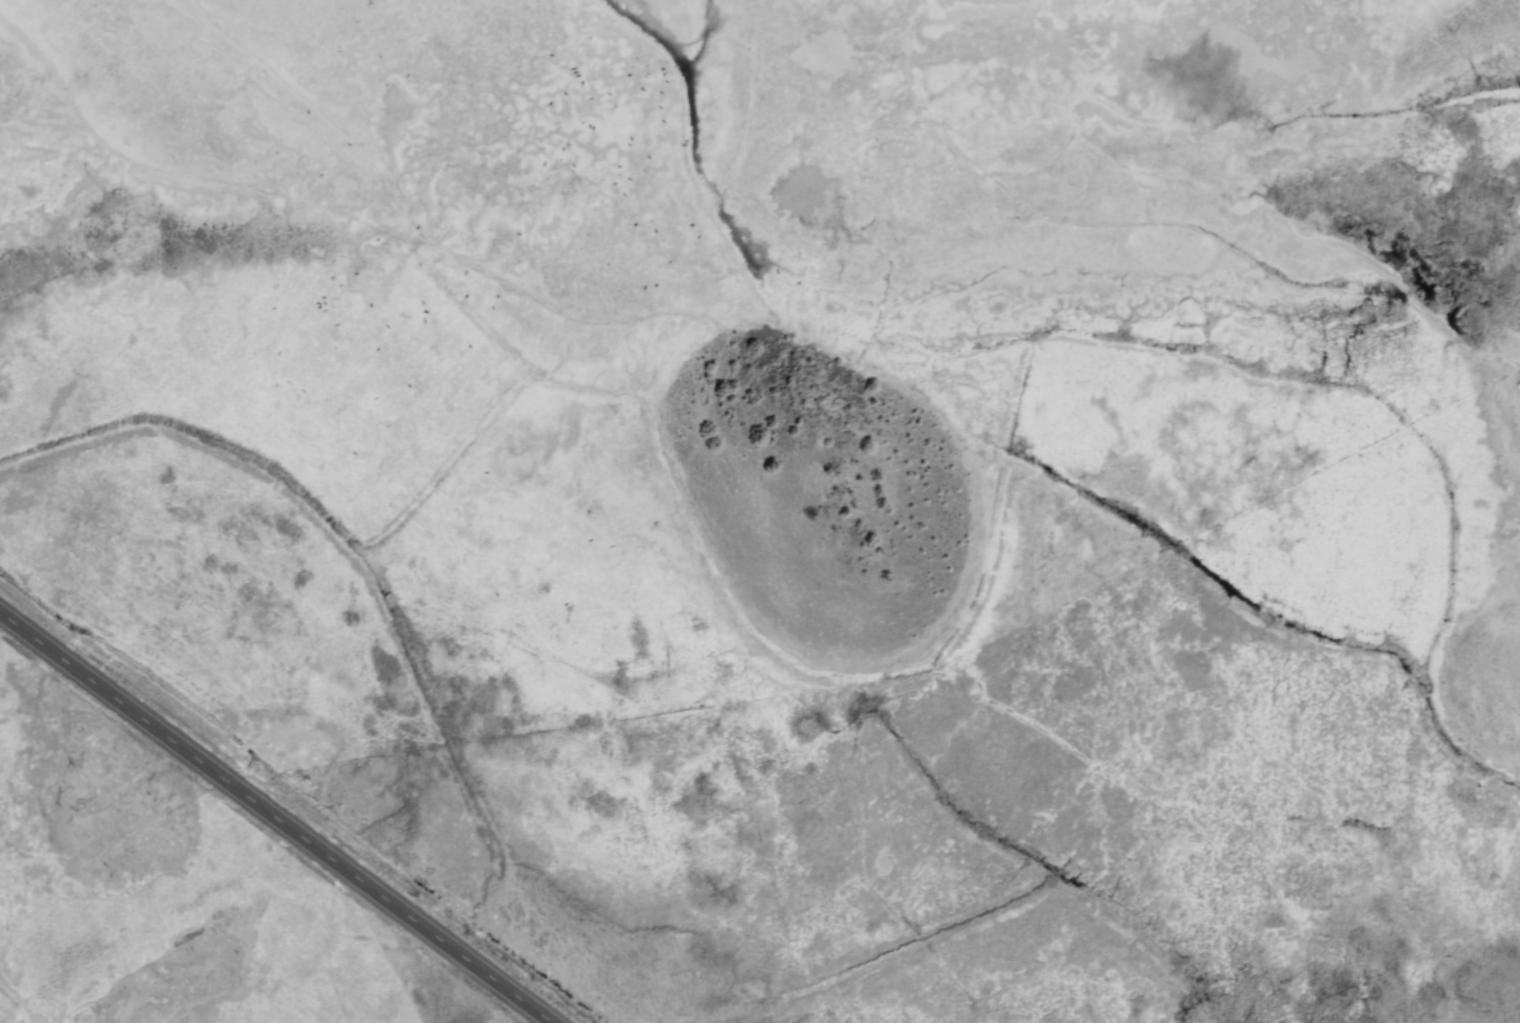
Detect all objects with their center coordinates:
road: (278, 817)

